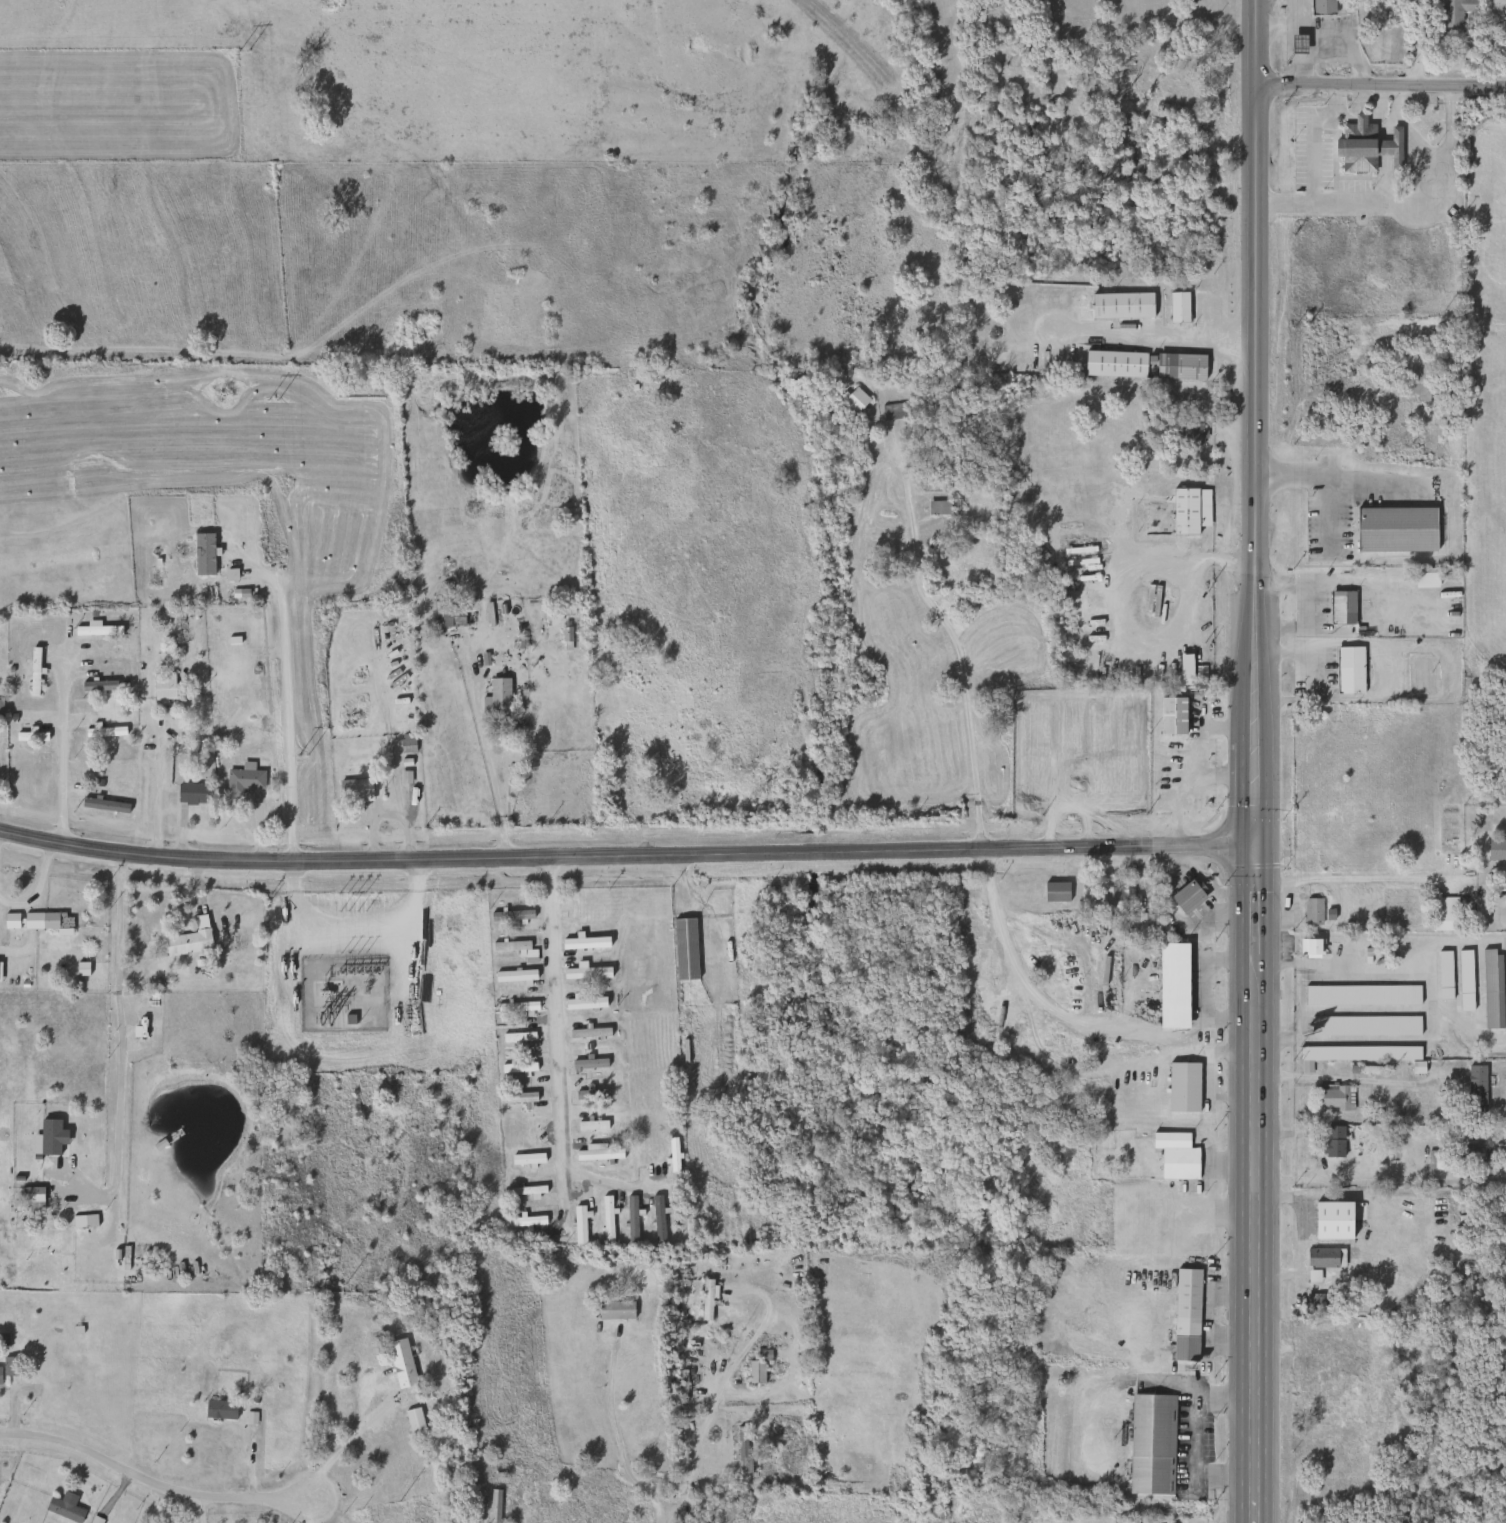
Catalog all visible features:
building: (1320, 6)
building: (1418, 11)
building: (1454, 11)
building: (1504, 15)
road: (1325, 29)
power tower: (243, 51)
road: (1314, 55)
road: (1380, 86)
road: (1407, 129)
road: (1310, 137)
building: (1363, 145)
road: (1401, 200)
building: (1120, 305)
building: (1176, 306)
road: (1153, 334)
building: (1113, 363)
road: (1255, 363)
building: (1178, 366)
building: (1423, 391)
building: (852, 399)
power tower: (272, 400)
building: (1388, 410)
building: (891, 411)
building: (1191, 433)
road: (1337, 479)
building: (932, 483)
building: (940, 507)
building: (1336, 507)
building: (1182, 511)
road: (1323, 515)
building: (202, 560)
building: (1424, 580)
road: (1116, 595)
building: (1340, 607)
building: (450, 614)
building: (94, 630)
road: (950, 635)
building: (1348, 670)
building: (32, 671)
building: (161, 688)
building: (495, 697)
road: (284, 705)
building: (1171, 716)
building: (102, 732)
building: (28, 737)
road: (1253, 749)
road: (60, 752)
road: (484, 753)
power tower: (303, 755)
road: (1192, 764)
road: (1221, 773)
building: (1097, 774)
building: (241, 782)
road: (154, 789)
building: (353, 790)
building: (189, 793)
road: (259, 829)
building: (1496, 850)
road: (624, 856)
road: (1176, 867)
road: (1364, 878)
road: (37, 885)
building: (1053, 892)
building: (1185, 897)
road: (1185, 898)
building: (1119, 900)
road: (1253, 907)
building: (1311, 912)
building: (1442, 914)
building: (511, 915)
road: (1220, 916)
building: (34, 921)
building: (185, 943)
building: (583, 943)
road: (18, 946)
building: (1308, 947)
building: (515, 949)
building: (683, 949)
road: (1272, 965)
road: (1389, 967)
building: (584, 973)
building: (1442, 975)
building: (513, 976)
power substation: (333, 980)
building: (1463, 981)
building: (1172, 986)
road: (1202, 988)
building: (1490, 988)
building: (1359, 996)
building: (582, 1003)
building: (515, 1007)
building: (347, 1018)
road: (1065, 1018)
power tower: (324, 1020)
building: (1367, 1026)
road: (553, 1033)
building: (586, 1033)
building: (516, 1038)
road: (1366, 1041)
road: (120, 1055)
building: (1350, 1059)
building: (587, 1064)
building: (515, 1068)
road: (1343, 1078)
building: (1181, 1088)
building: (1474, 1089)
building: (589, 1094)
road: (1209, 1096)
building: (516, 1098)
building: (1333, 1098)
building: (589, 1125)
building: (1331, 1143)
building: (1398, 1148)
building: (596, 1153)
building: (670, 1155)
building: (1174, 1156)
building: (1473, 1156)
building: (525, 1159)
building: (1437, 1160)
road: (607, 1182)
building: (524, 1190)
building: (32, 1201)
building: (1315, 1207)
building: (1345, 1213)
building: (656, 1219)
building: (604, 1220)
building: (629, 1220)
building: (82, 1221)
building: (526, 1221)
building: (577, 1225)
building: (40, 1241)
building: (1323, 1258)
road: (1256, 1282)
power tower: (346, 1286)
building: (705, 1300)
building: (1308, 1301)
building: (613, 1311)
building: (1184, 1314)
road: (750, 1341)
building: (398, 1362)
building: (8, 1366)
building: (1321, 1367)
building: (753, 1372)
building: (680, 1385)
building: (218, 1409)
building: (412, 1421)
road: (614, 1428)
road: (1190, 1435)
building: (1149, 1444)
road: (338, 1450)
building: (741, 1450)
road: (688, 1463)
road: (149, 1480)
power tower: (400, 1502)
building: (492, 1506)
road: (197, 1507)
building: (62, 1509)
road: (306, 1511)
road: (660, 1517)

